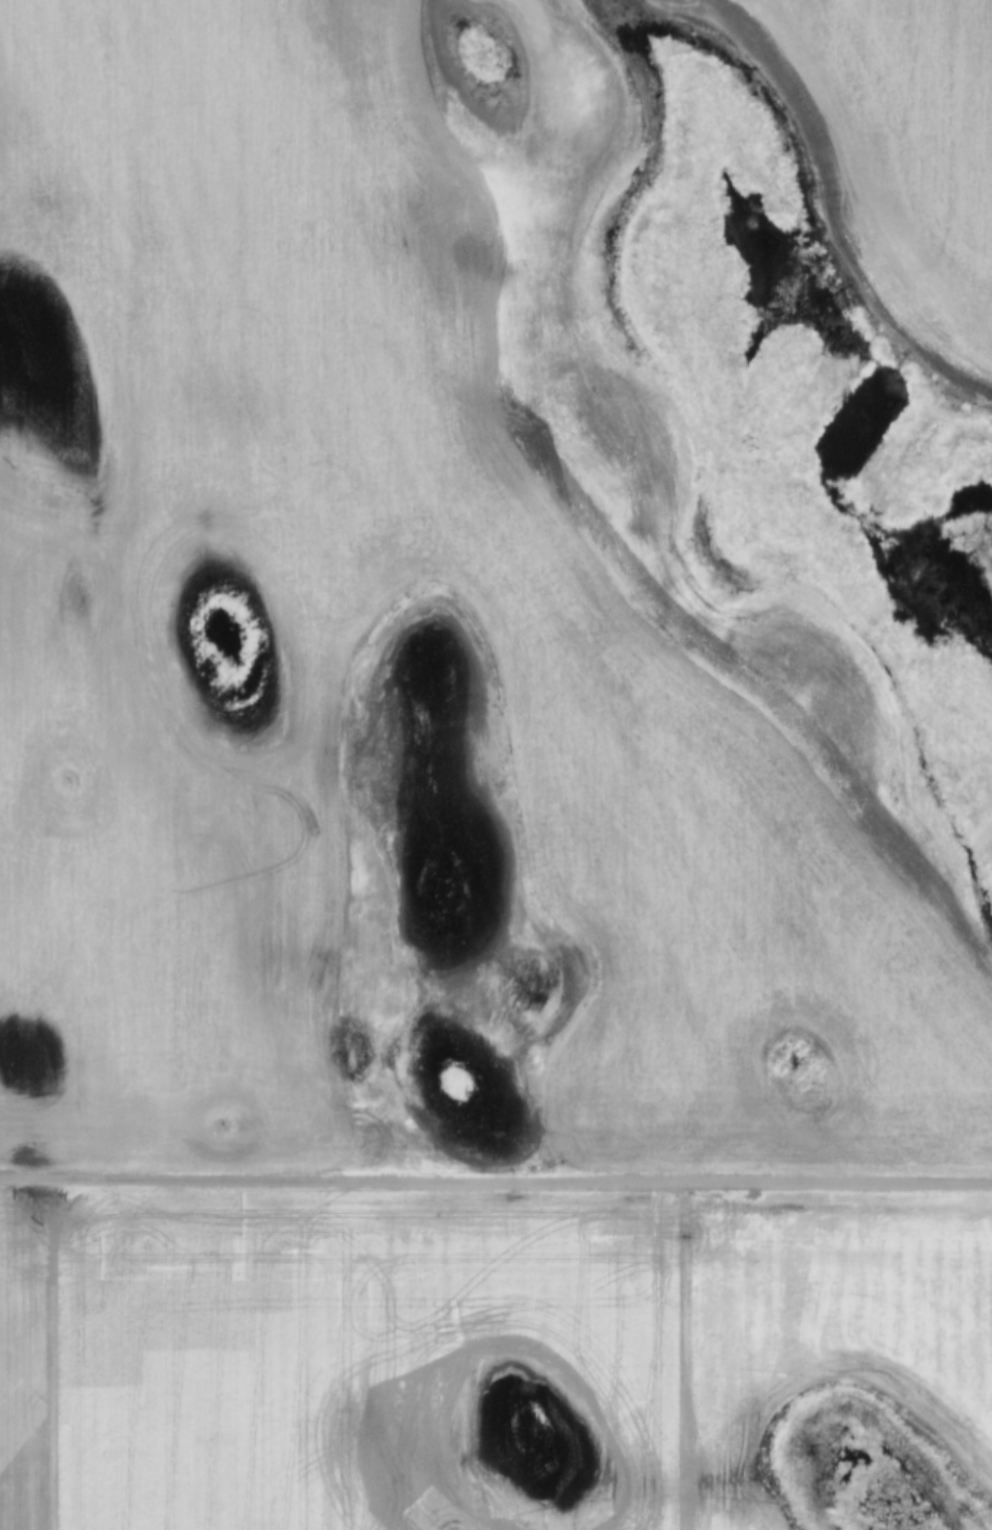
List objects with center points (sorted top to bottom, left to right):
road: (495, 1176)

